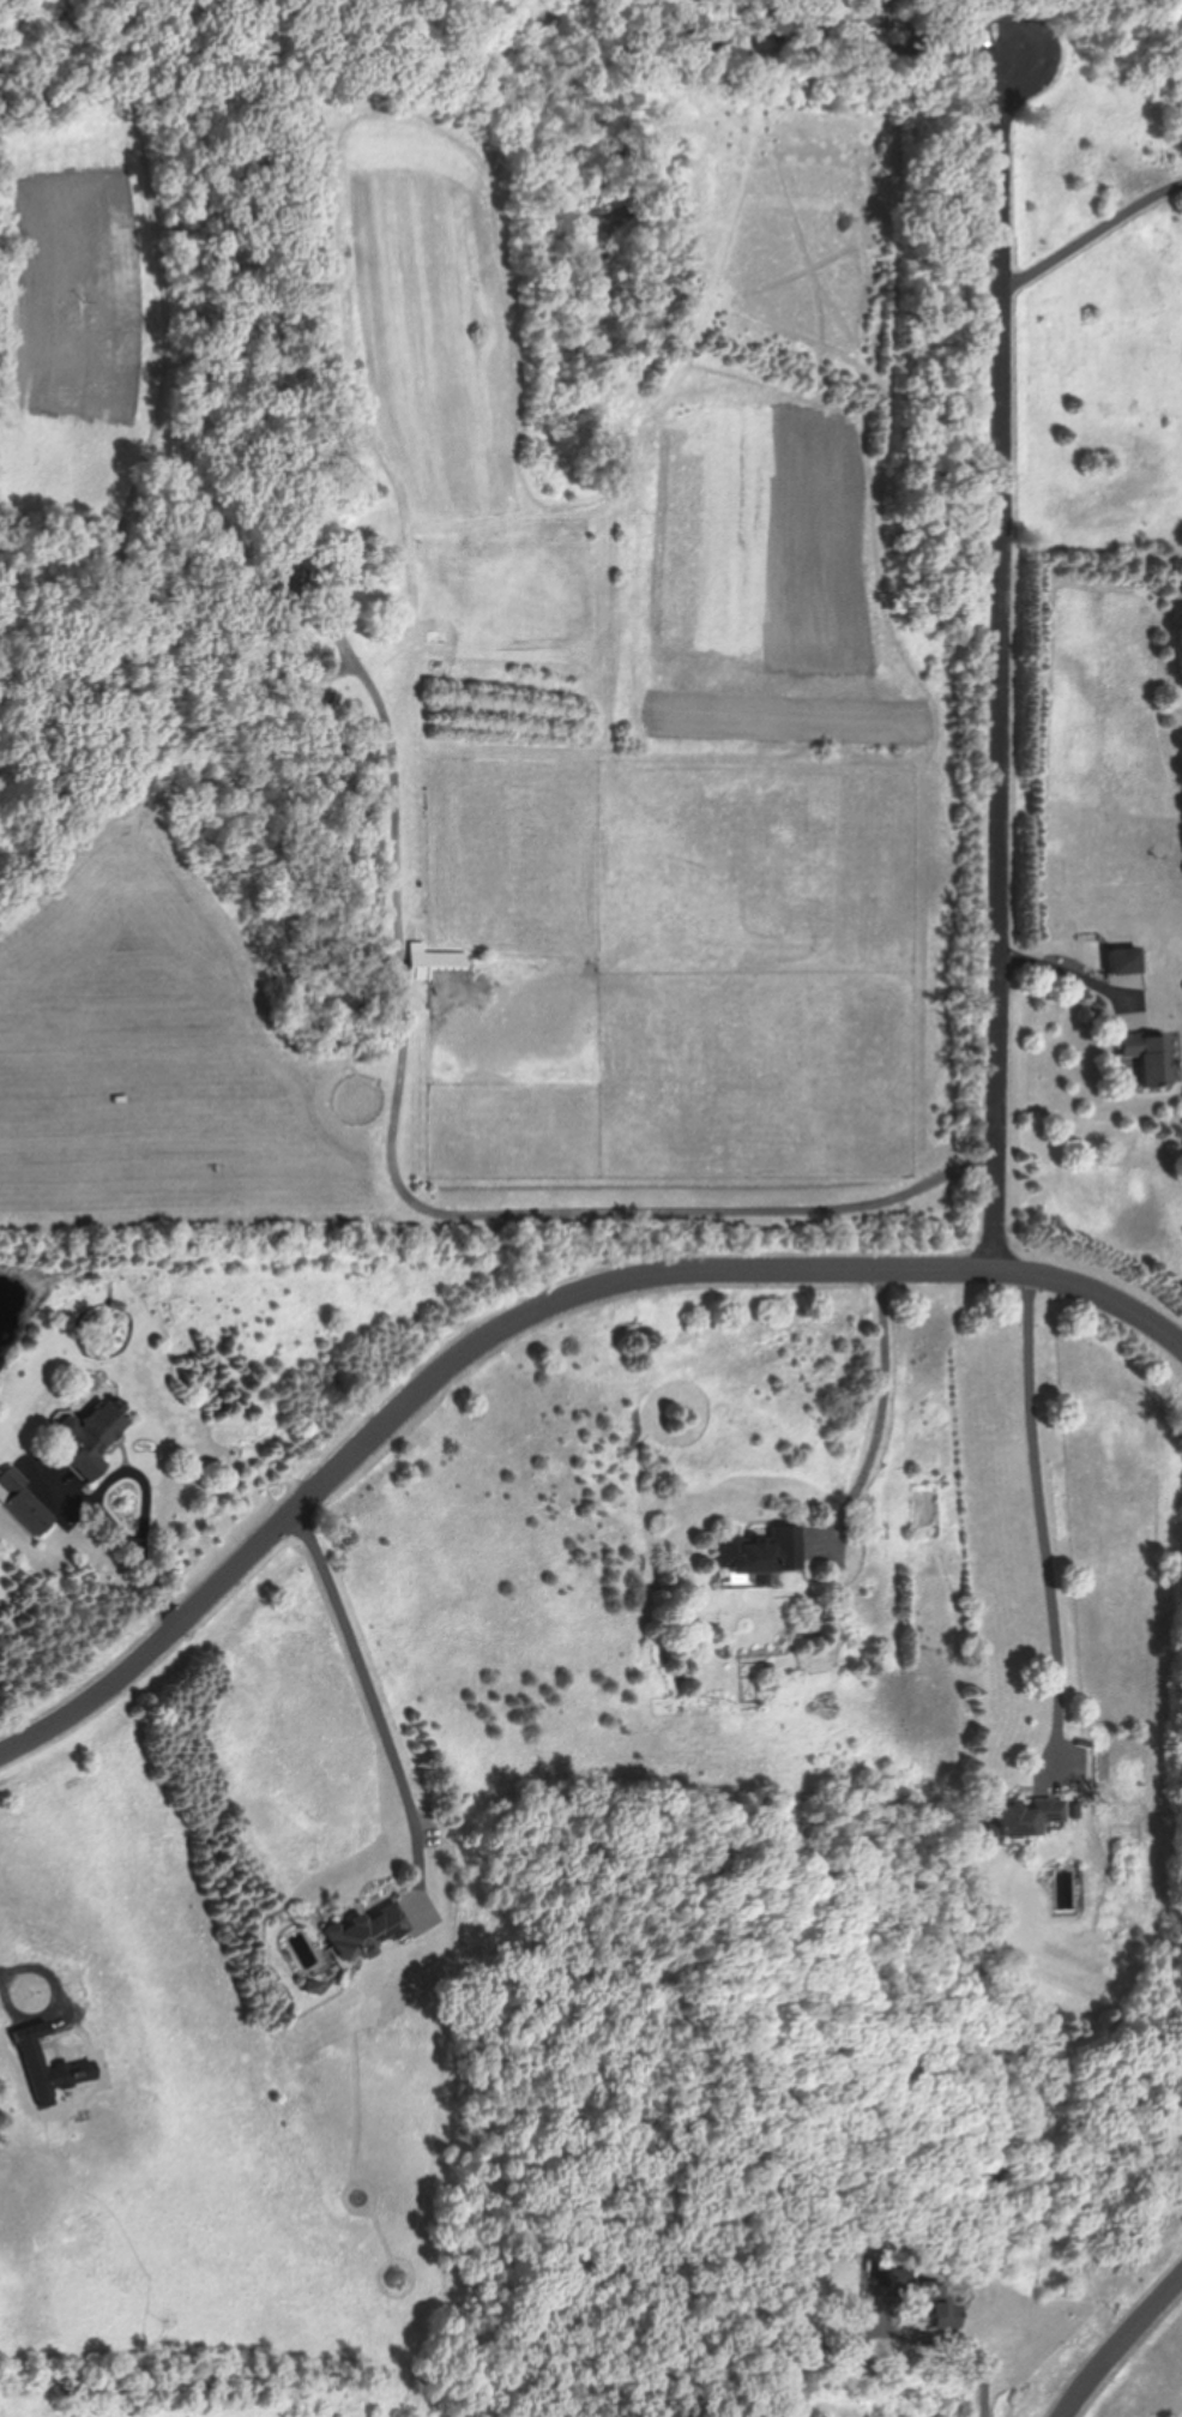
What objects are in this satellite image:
road: (889, 49)
road: (1092, 238)
road: (1006, 660)
building: (434, 963)
road: (1067, 974)
building: (1151, 1056)
road: (432, 1208)
road: (519, 1318)
road: (892, 1409)
building: (95, 1436)
road: (146, 1495)
building: (26, 1502)
road: (1055, 1523)
building: (760, 1552)
road: (368, 1682)
building: (1029, 1814)
building: (368, 1930)
road: (10, 2003)
building: (82, 2063)
building: (928, 2297)
road: (1123, 2347)
road: (973, 2355)

